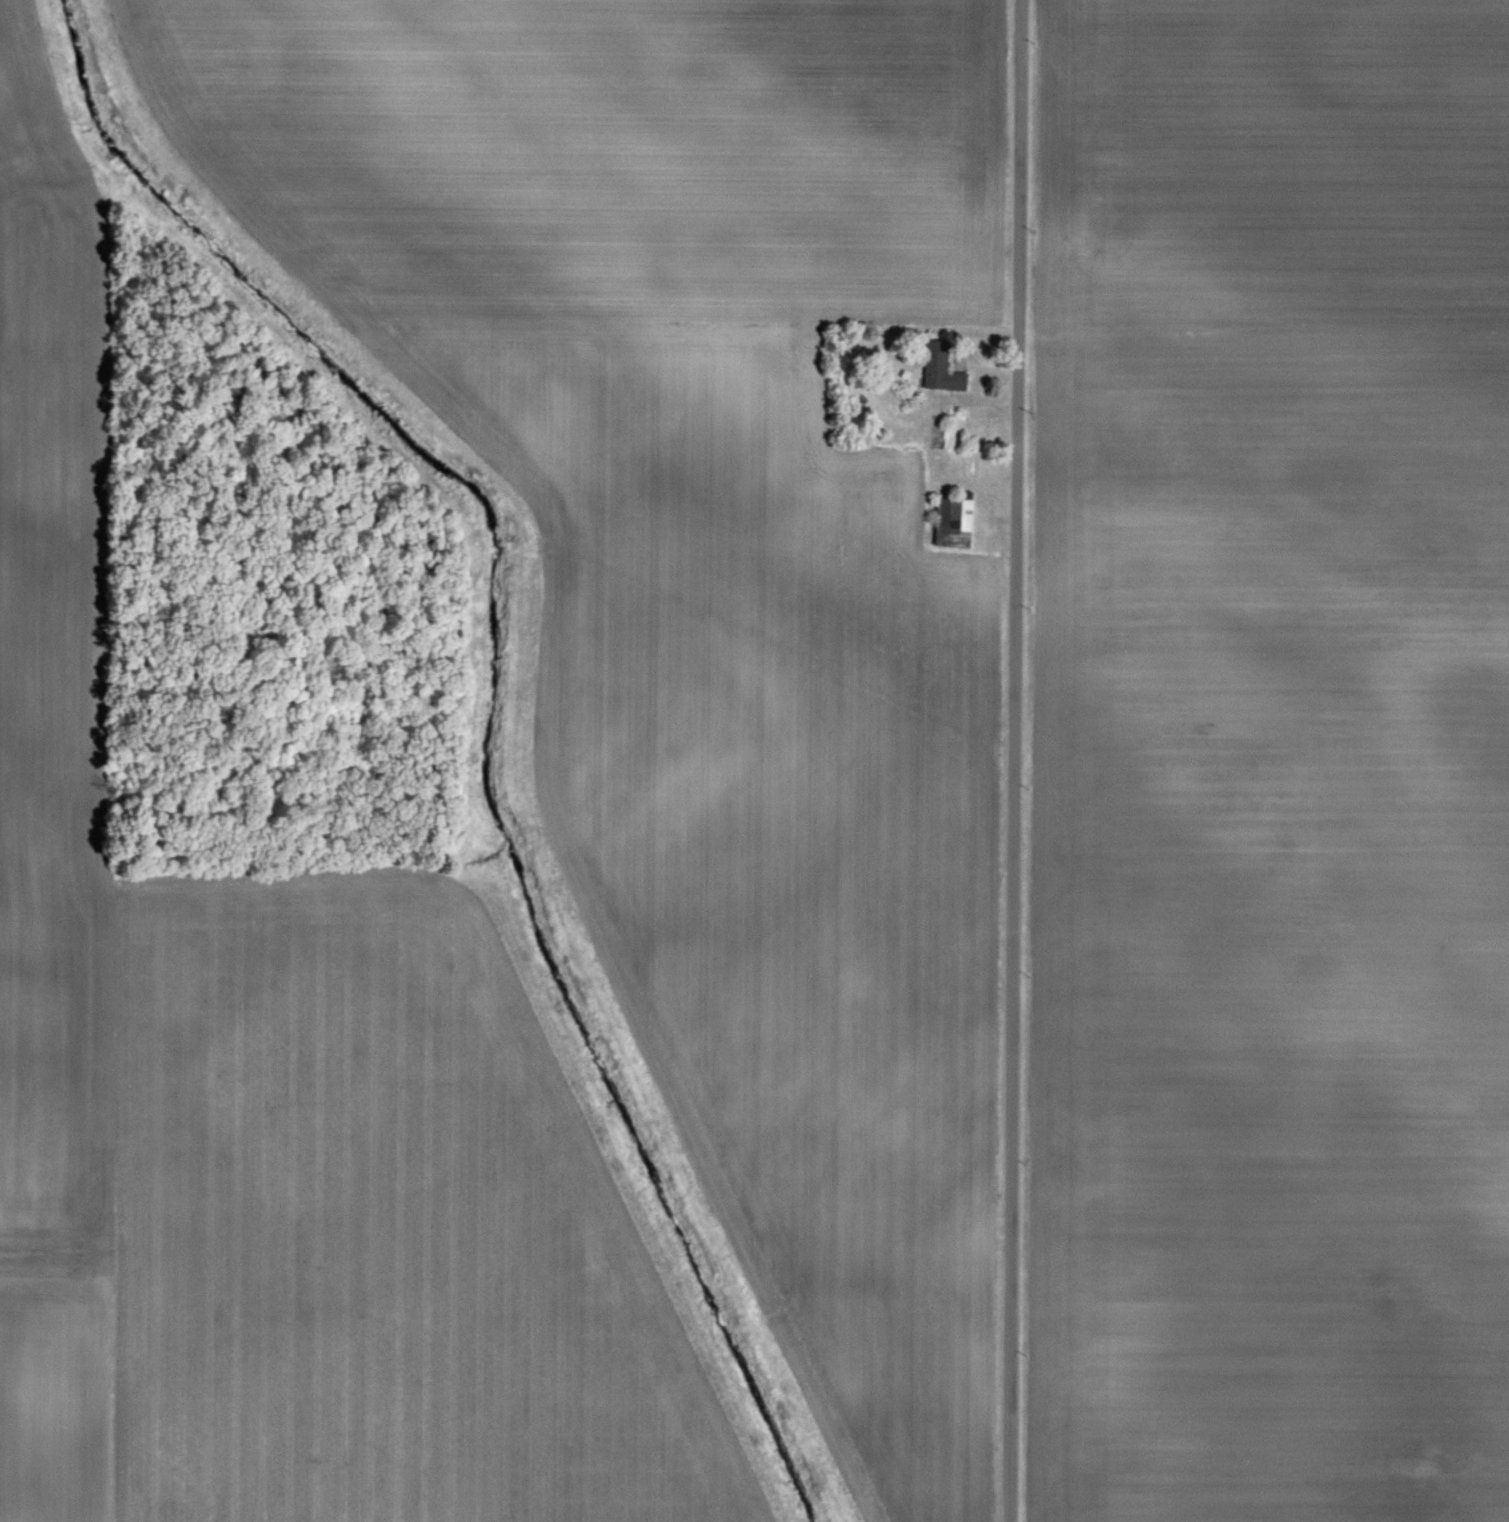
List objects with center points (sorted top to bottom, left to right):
building: (940, 365)
road: (1010, 761)

